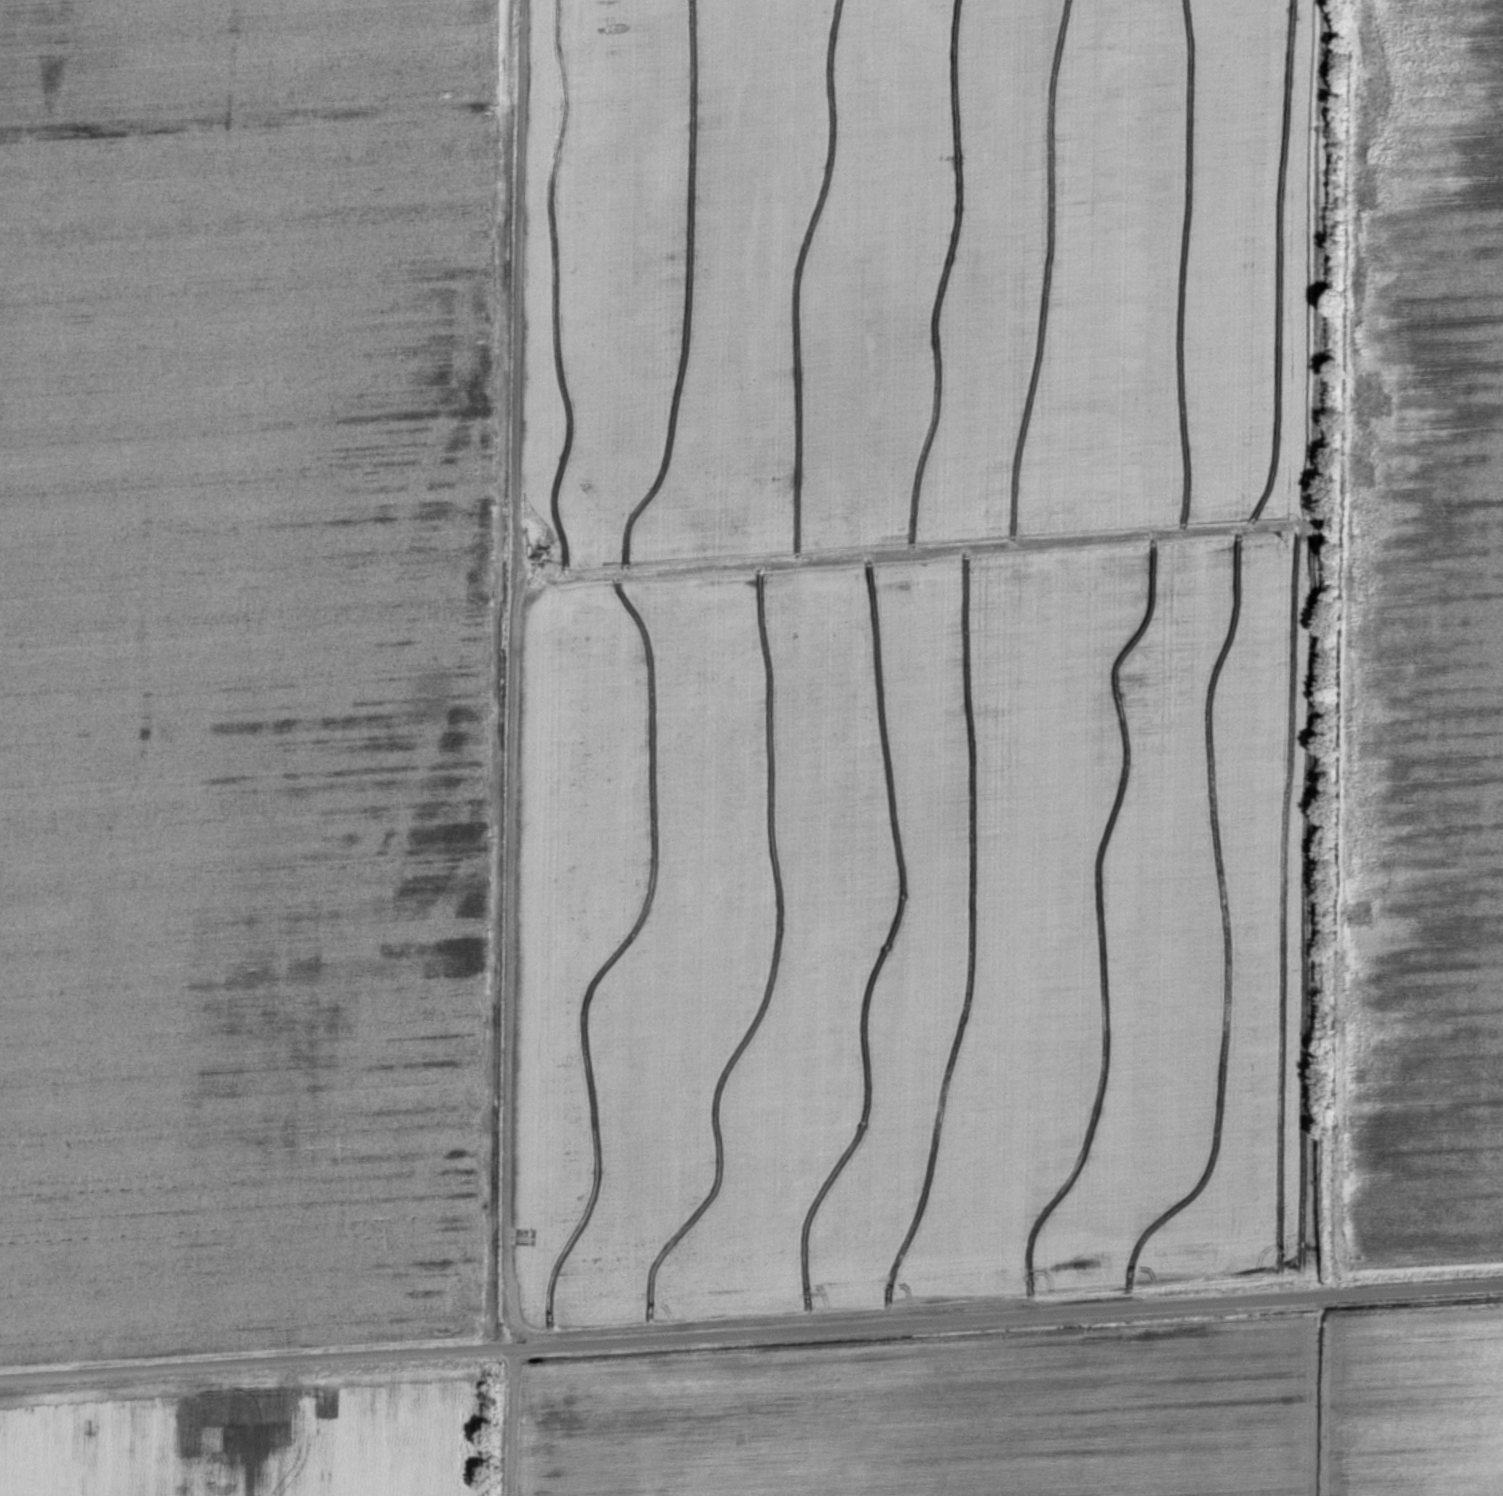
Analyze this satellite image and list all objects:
road: (751, 1333)

